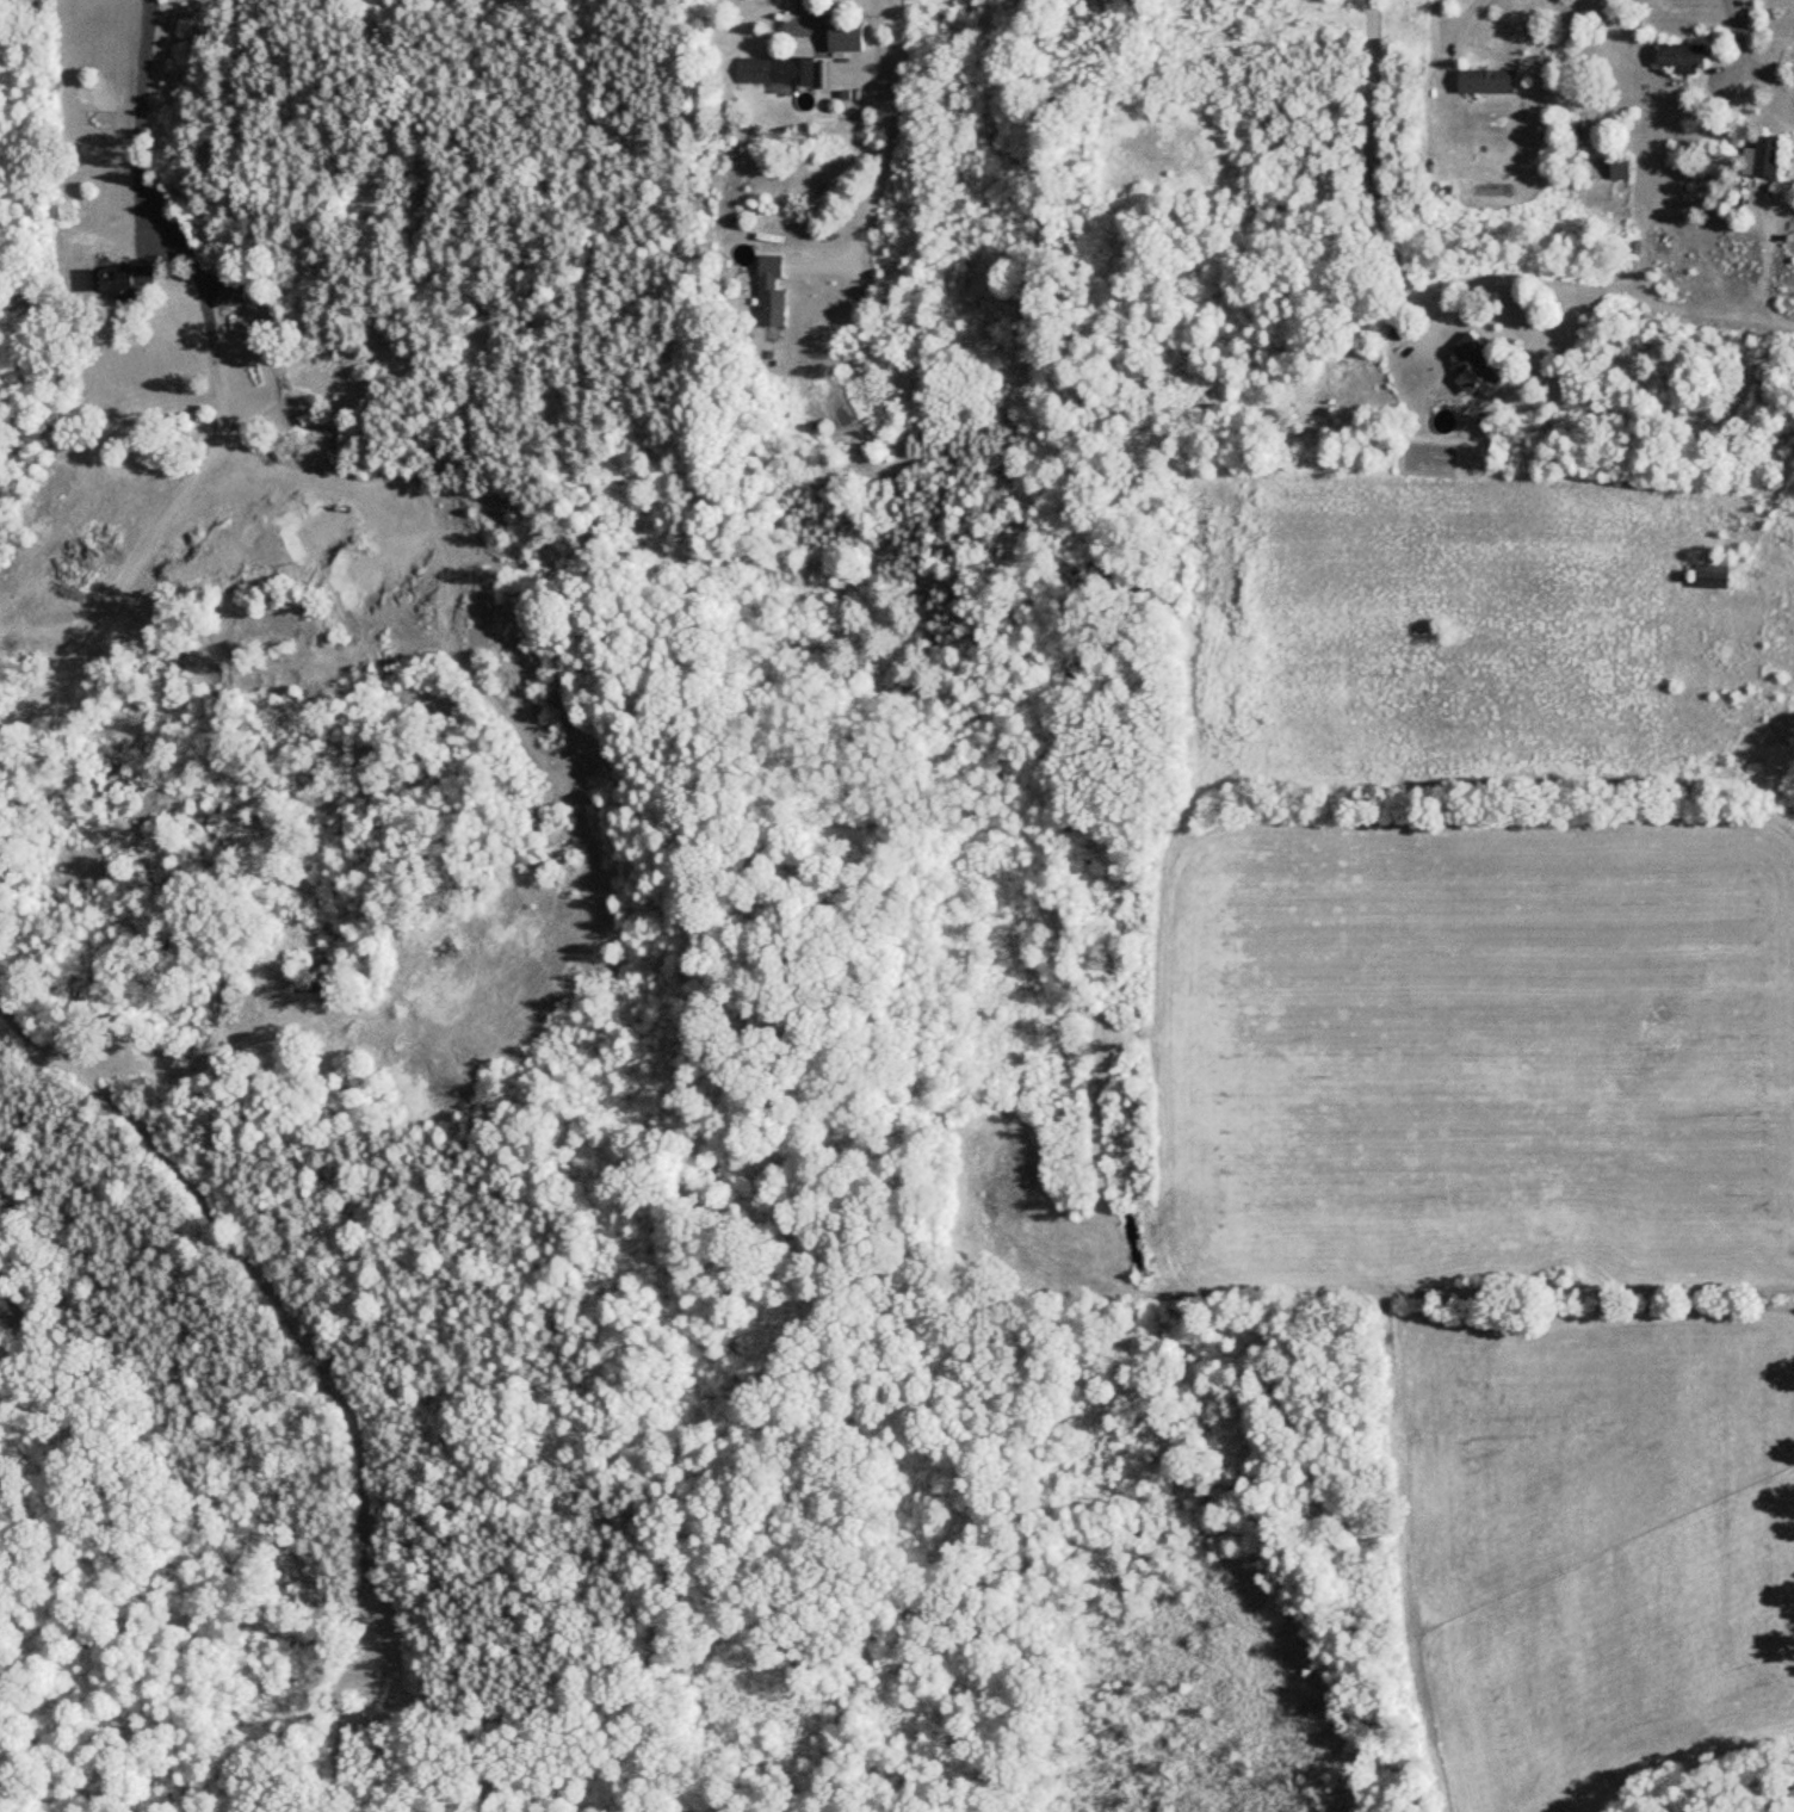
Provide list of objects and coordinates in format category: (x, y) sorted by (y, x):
building: (845, 37)
road: (1756, 54)
building: (1681, 57)
building: (775, 70)
building: (1486, 81)
road: (144, 129)
road: (887, 151)
building: (1768, 156)
building: (1619, 169)
road: (1503, 270)
building: (119, 283)
building: (771, 292)
building: (231, 296)
road: (1775, 309)
building: (1474, 367)
building: (1762, 385)
building: (1712, 576)

